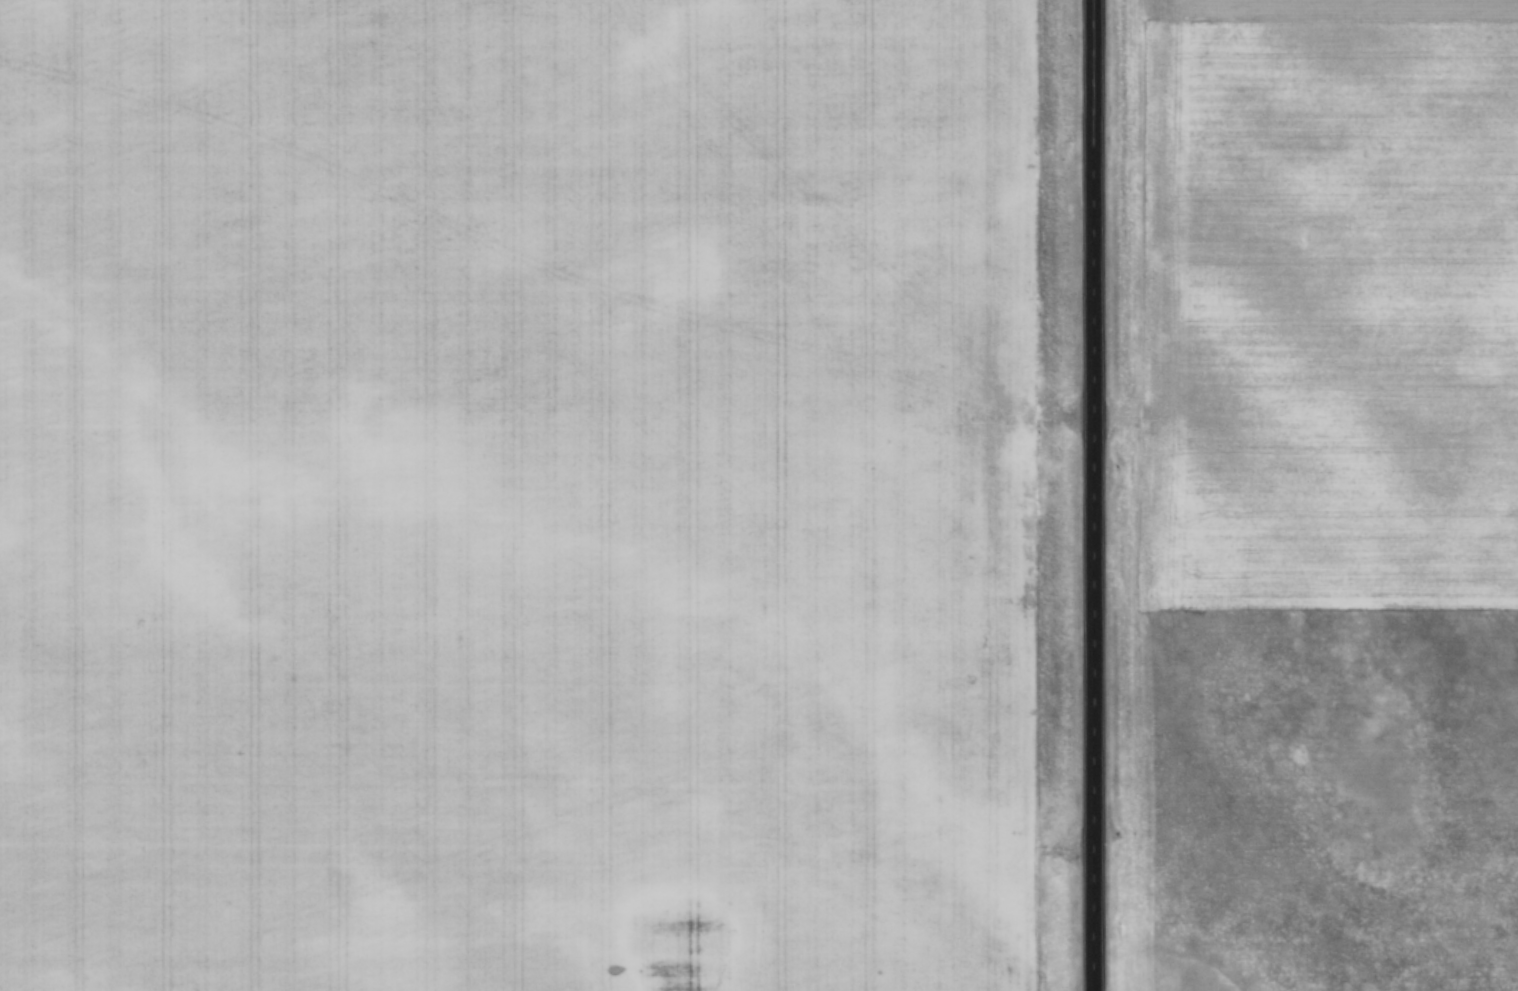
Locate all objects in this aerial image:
road: (1094, 495)

